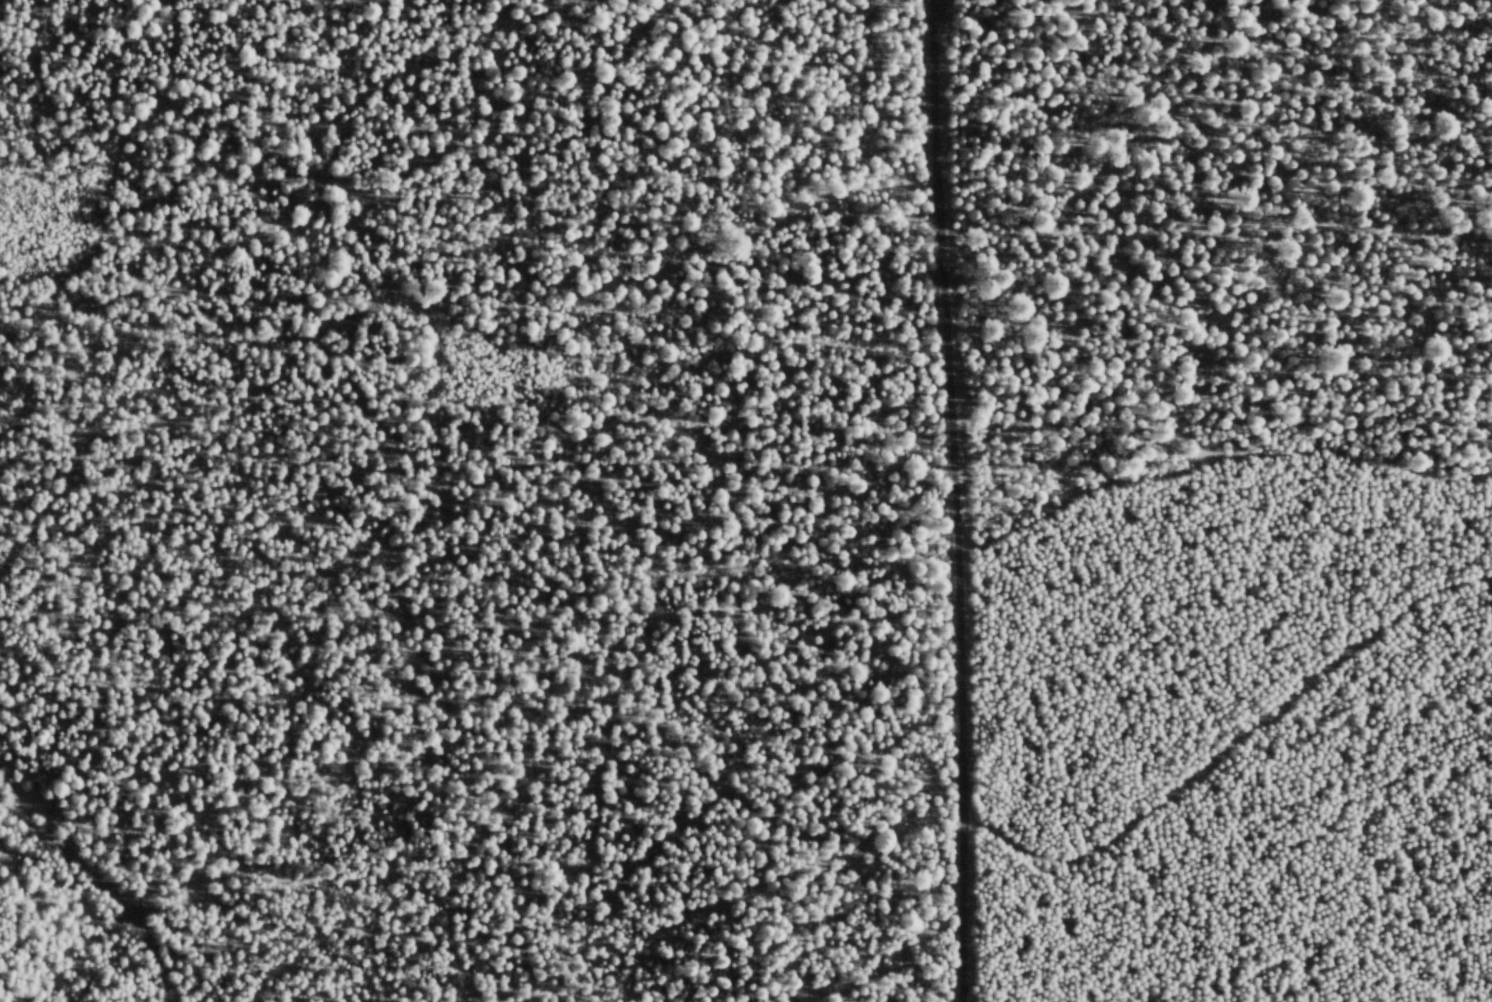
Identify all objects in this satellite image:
road: (73, 898)

